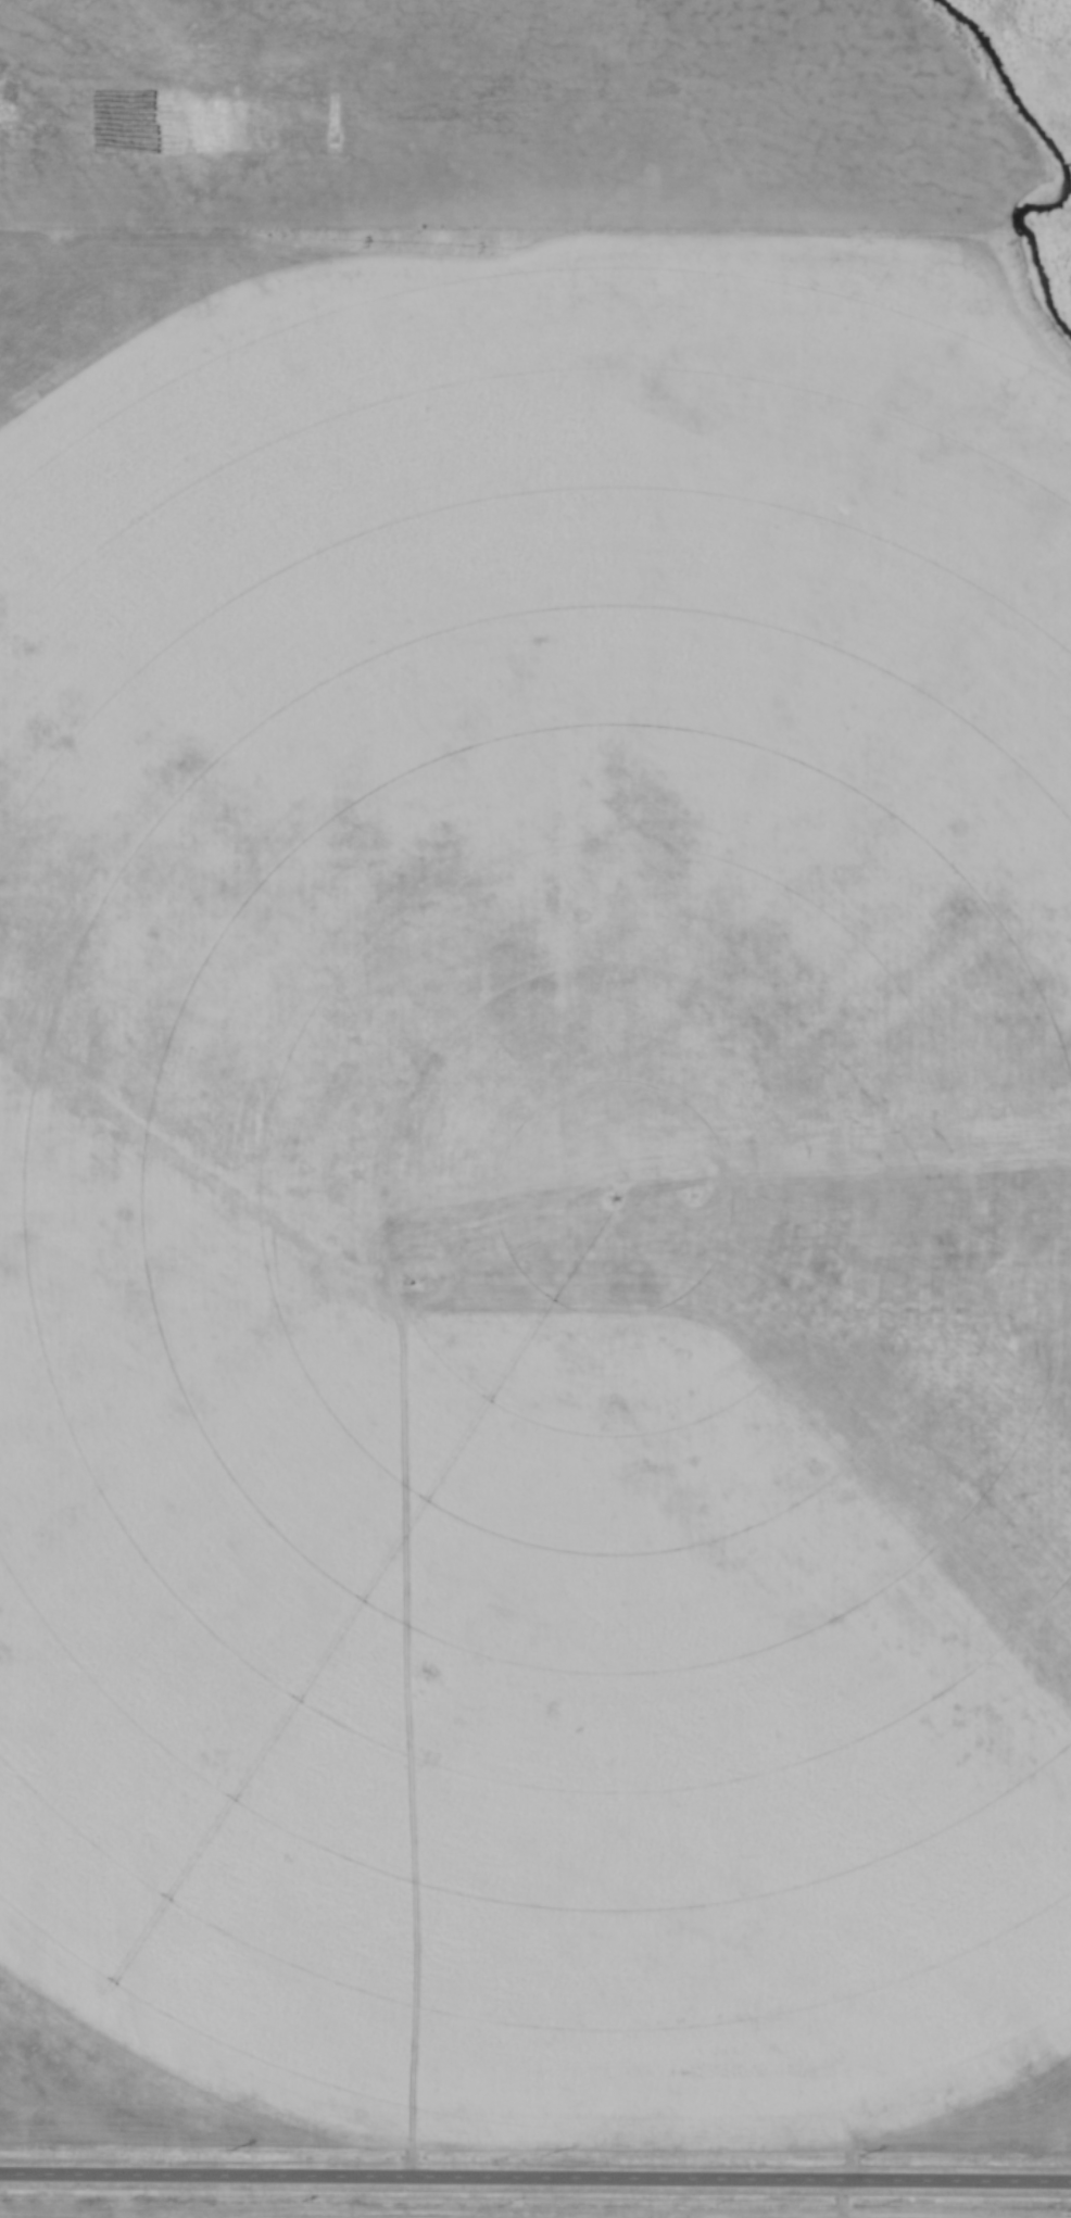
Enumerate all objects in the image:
road: (534, 2177)
crop: (602, 2209)

